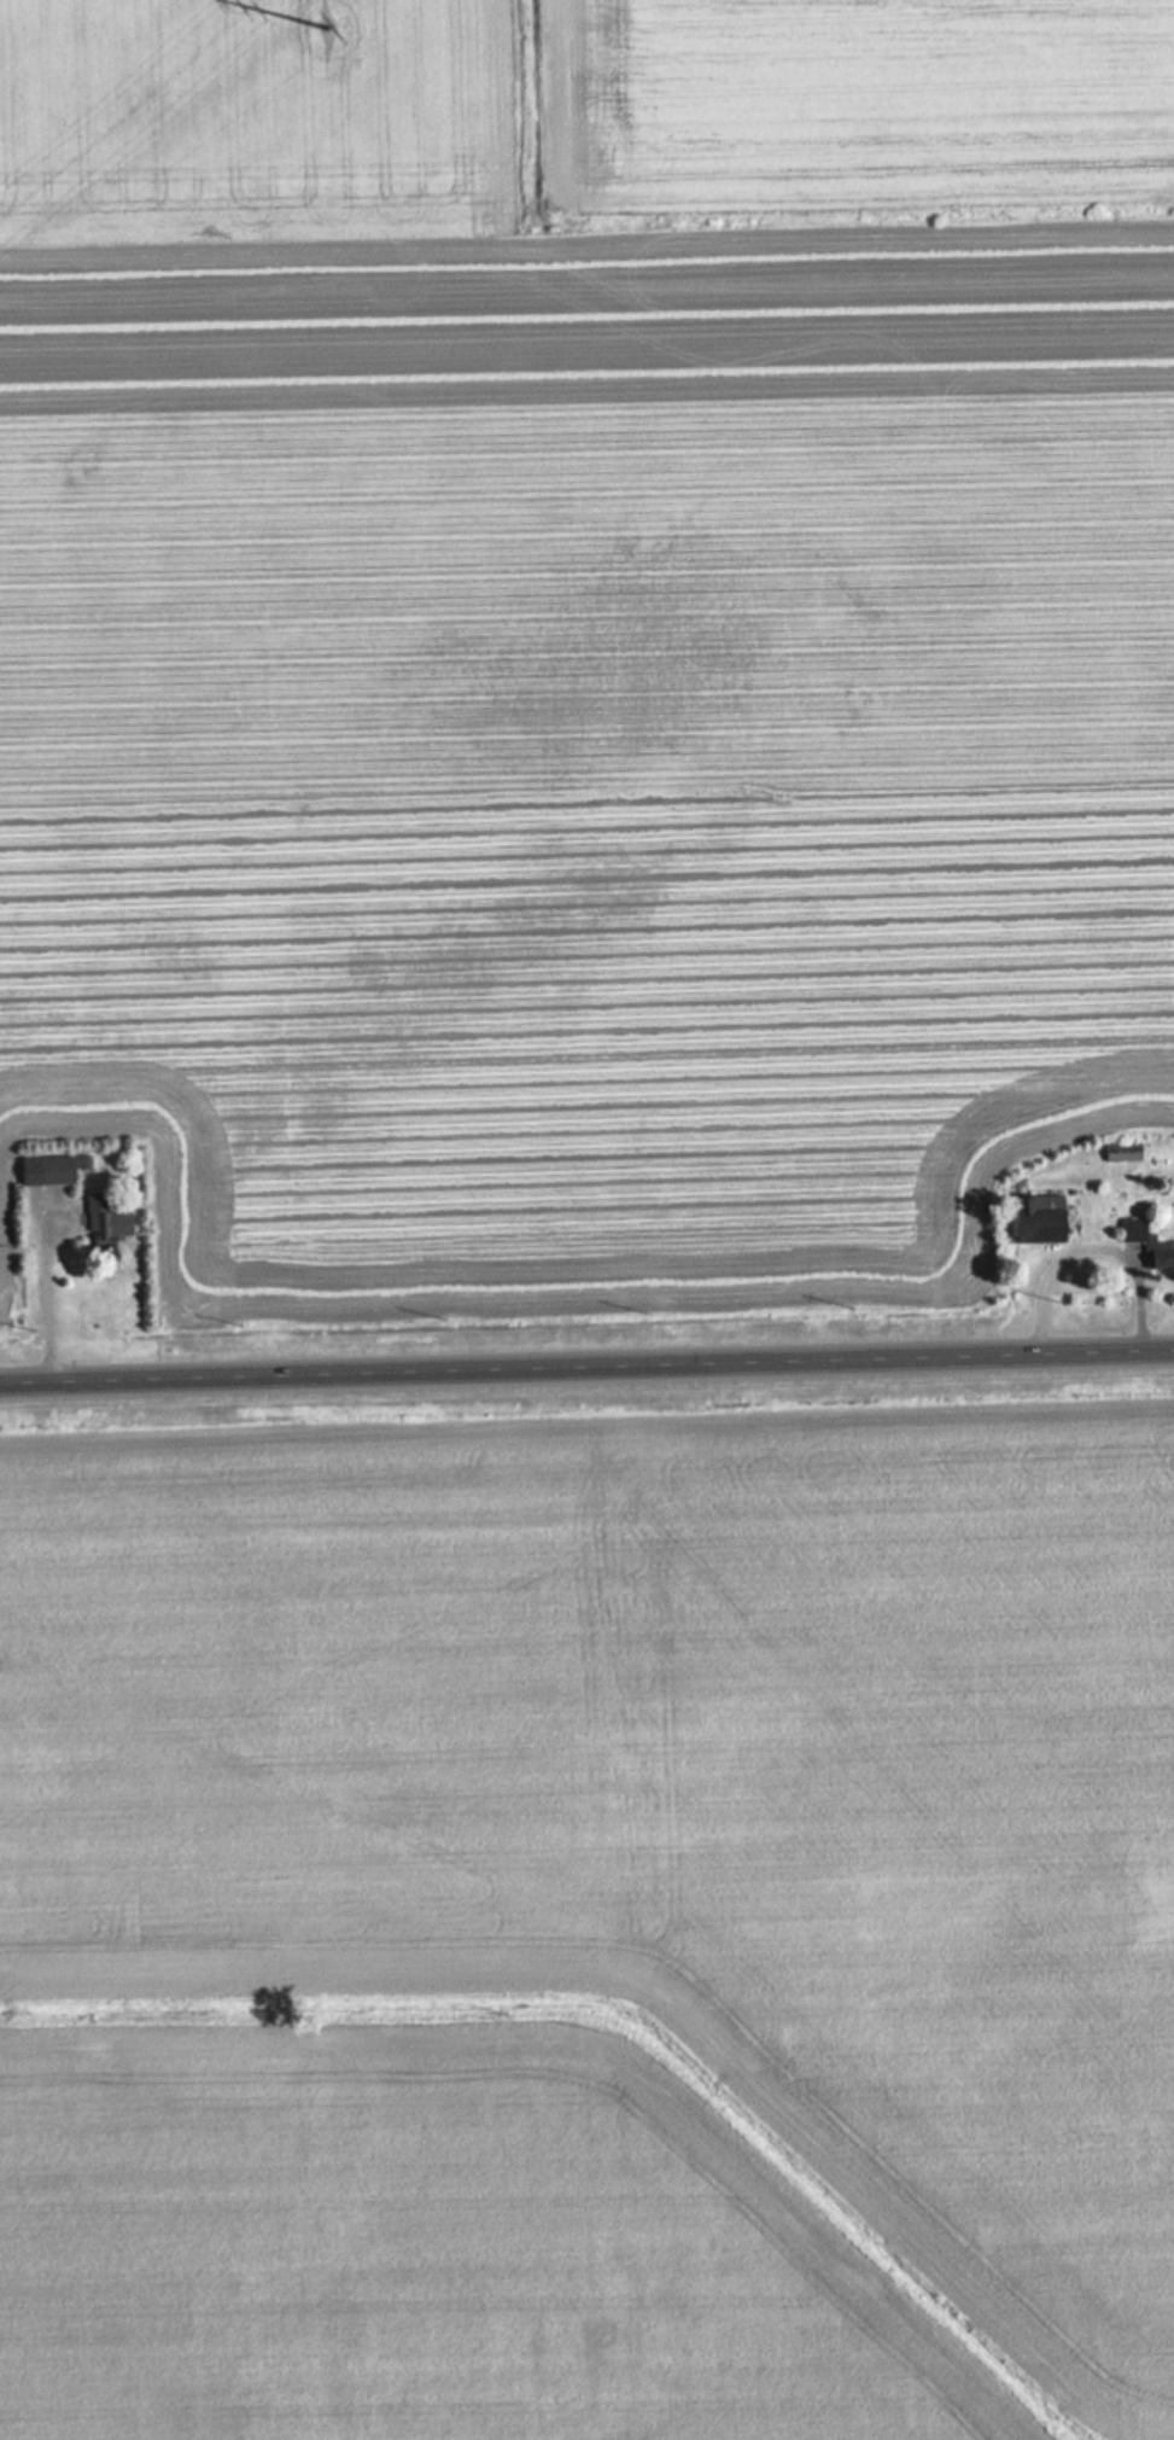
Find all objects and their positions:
power tower: (323, 31)
building: (1123, 1157)
building: (58, 1171)
building: (109, 1219)
building: (1034, 1221)
building: (1149, 1248)
road: (586, 1364)

